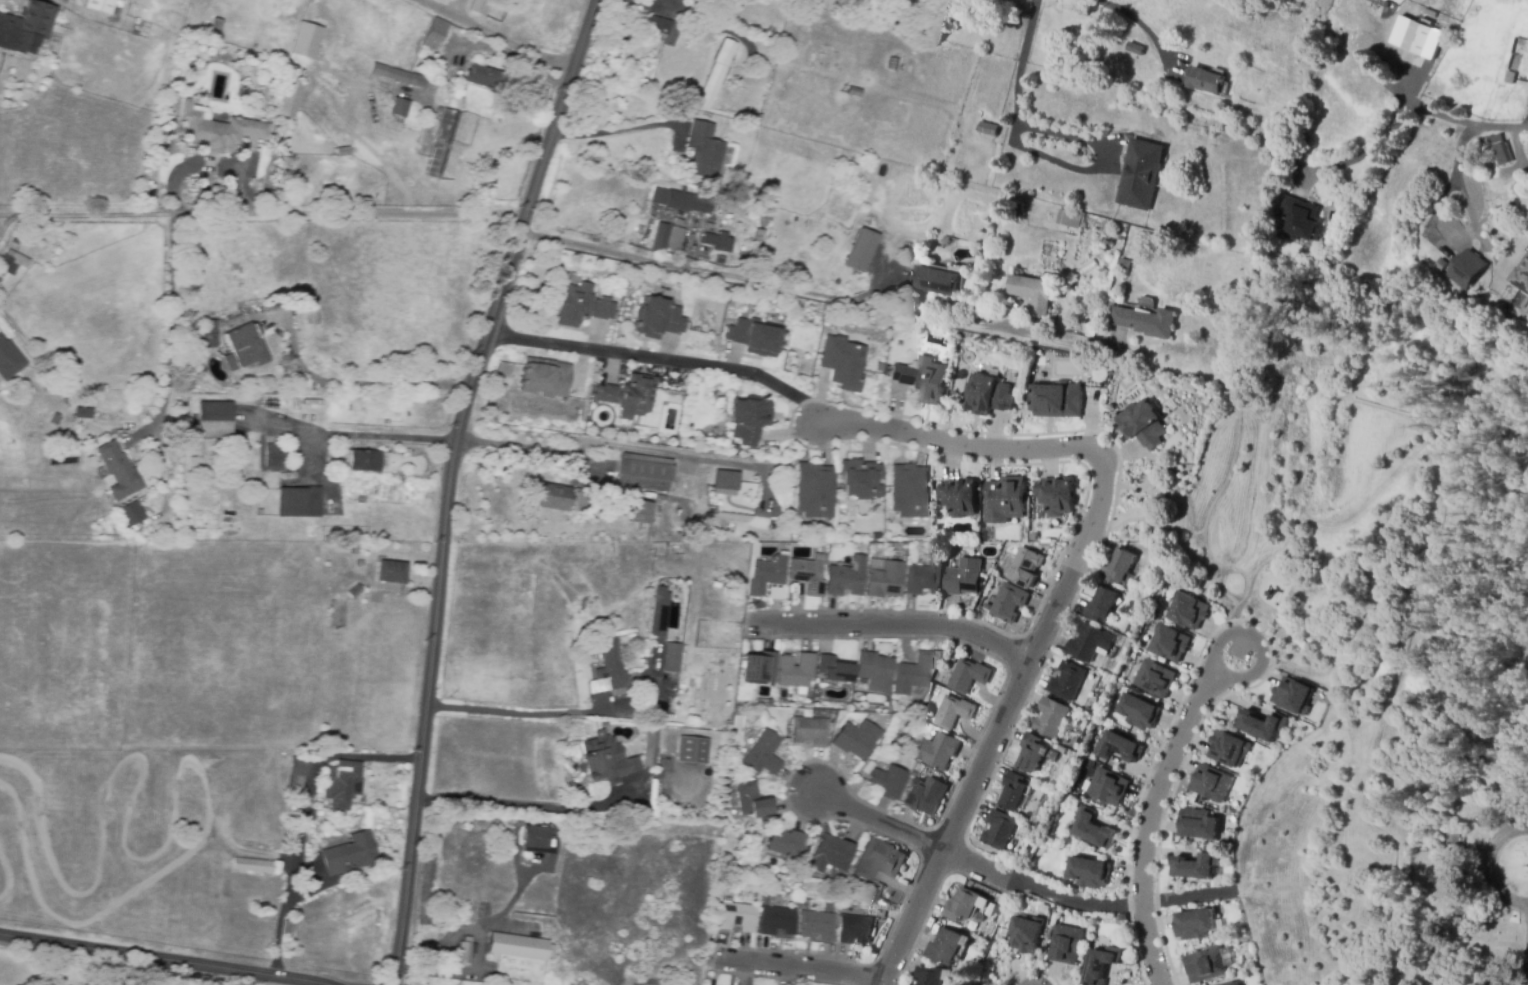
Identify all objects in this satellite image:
building: (105, 6)
building: (478, 6)
road: (1140, 23)
building: (214, 26)
building: (26, 27)
building: (665, 29)
building: (1346, 31)
building: (433, 35)
road: (493, 36)
building: (1418, 37)
building: (305, 38)
building: (1135, 48)
building: (388, 74)
building: (715, 75)
building: (483, 78)
building: (1509, 78)
building: (1205, 79)
building: (416, 81)
building: (853, 92)
building: (288, 99)
building: (398, 108)
road: (1018, 110)
road: (1466, 120)
building: (988, 130)
building: (216, 131)
road: (613, 131)
building: (439, 142)
road: (1365, 148)
building: (704, 151)
building: (342, 152)
building: (1502, 155)
building: (1140, 173)
road: (1457, 189)
building: (683, 201)
road: (267, 213)
road: (4, 215)
building: (1069, 217)
building: (1300, 219)
building: (763, 220)
road: (4, 223)
building: (759, 236)
building: (666, 238)
building: (717, 243)
building: (860, 249)
building: (718, 261)
building: (12, 262)
building: (1440, 265)
building: (1466, 268)
road: (702, 269)
building: (1520, 278)
building: (937, 281)
building: (1032, 292)
building: (730, 301)
building: (578, 303)
building: (654, 316)
building: (1145, 322)
road: (168, 324)
road: (986, 328)
building: (753, 335)
building: (207, 336)
building: (240, 349)
road: (591, 349)
building: (840, 360)
building: (8, 361)
road: (698, 364)
building: (878, 366)
building: (922, 377)
building: (545, 378)
road: (359, 383)
building: (627, 394)
building: (987, 394)
building: (1057, 399)
building: (79, 408)
building: (81, 413)
building: (746, 417)
building: (212, 419)
building: (1142, 423)
road: (378, 436)
building: (734, 448)
building: (277, 455)
road: (698, 457)
building: (364, 461)
building: (644, 472)
building: (117, 473)
building: (858, 477)
building: (725, 480)
road: (452, 484)
building: (812, 489)
building: (907, 489)
building: (1056, 494)
building: (958, 495)
building: (553, 497)
building: (1004, 499)
building: (298, 502)
building: (127, 512)
building: (639, 512)
road: (1091, 532)
building: (875, 535)
building: (1034, 536)
building: (1046, 544)
building: (355, 549)
building: (753, 550)
building: (360, 563)
building: (1025, 567)
building: (1119, 569)
building: (391, 572)
building: (807, 576)
building: (846, 577)
building: (925, 577)
building: (768, 578)
building: (964, 578)
building: (884, 580)
building: (354, 591)
building: (648, 599)
building: (525, 603)
building: (1008, 603)
building: (1101, 604)
building: (1188, 610)
building: (659, 613)
building: (338, 616)
road: (903, 625)
building: (1168, 641)
building: (1090, 643)
building: (671, 657)
building: (608, 669)
building: (757, 669)
road: (1219, 669)
building: (793, 670)
building: (835, 670)
building: (874, 671)
building: (913, 671)
building: (968, 676)
building: (1154, 677)
building: (1068, 681)
building: (861, 689)
building: (1292, 694)
building: (769, 703)
building: (743, 711)
building: (1137, 711)
building: (952, 712)
road: (513, 714)
building: (1051, 718)
building: (1261, 724)
building: (808, 732)
building: (854, 739)
building: (1117, 746)
building: (650, 747)
building: (1226, 747)
building: (694, 750)
building: (937, 750)
building: (1037, 753)
building: (762, 754)
park: (1487, 754)
building: (606, 759)
building: (298, 775)
building: (730, 779)
building: (885, 780)
building: (1210, 783)
building: (342, 784)
building: (1110, 787)
building: (1016, 792)
building: (925, 796)
building: (752, 801)
road: (525, 804)
building: (651, 813)
road: (305, 816)
road: (1149, 820)
road: (878, 824)
building: (1019, 824)
building: (1199, 824)
building: (1094, 828)
building: (999, 830)
building: (1454, 839)
building: (536, 840)
building: (784, 843)
building: (1016, 854)
building: (350, 855)
building: (829, 855)
building: (880, 861)
building: (250, 865)
building: (1195, 865)
road: (1492, 865)
building: (429, 870)
building: (1091, 872)
road: (1039, 888)
building: (805, 905)
building: (965, 905)
building: (998, 910)
building: (739, 917)
building: (1124, 917)
building: (978, 919)
building: (777, 921)
building: (1194, 924)
building: (817, 926)
road: (468, 928)
building: (855, 930)
building: (1028, 934)
road: (1527, 944)
building: (1067, 945)
building: (518, 947)
building: (947, 948)
building: (465, 951)
road: (164, 959)
building: (977, 961)
building: (1102, 965)
road: (92, 967)
building: (1207, 968)
road: (814, 973)
building: (933, 975)
building: (913, 984)
building: (1233, 984)

